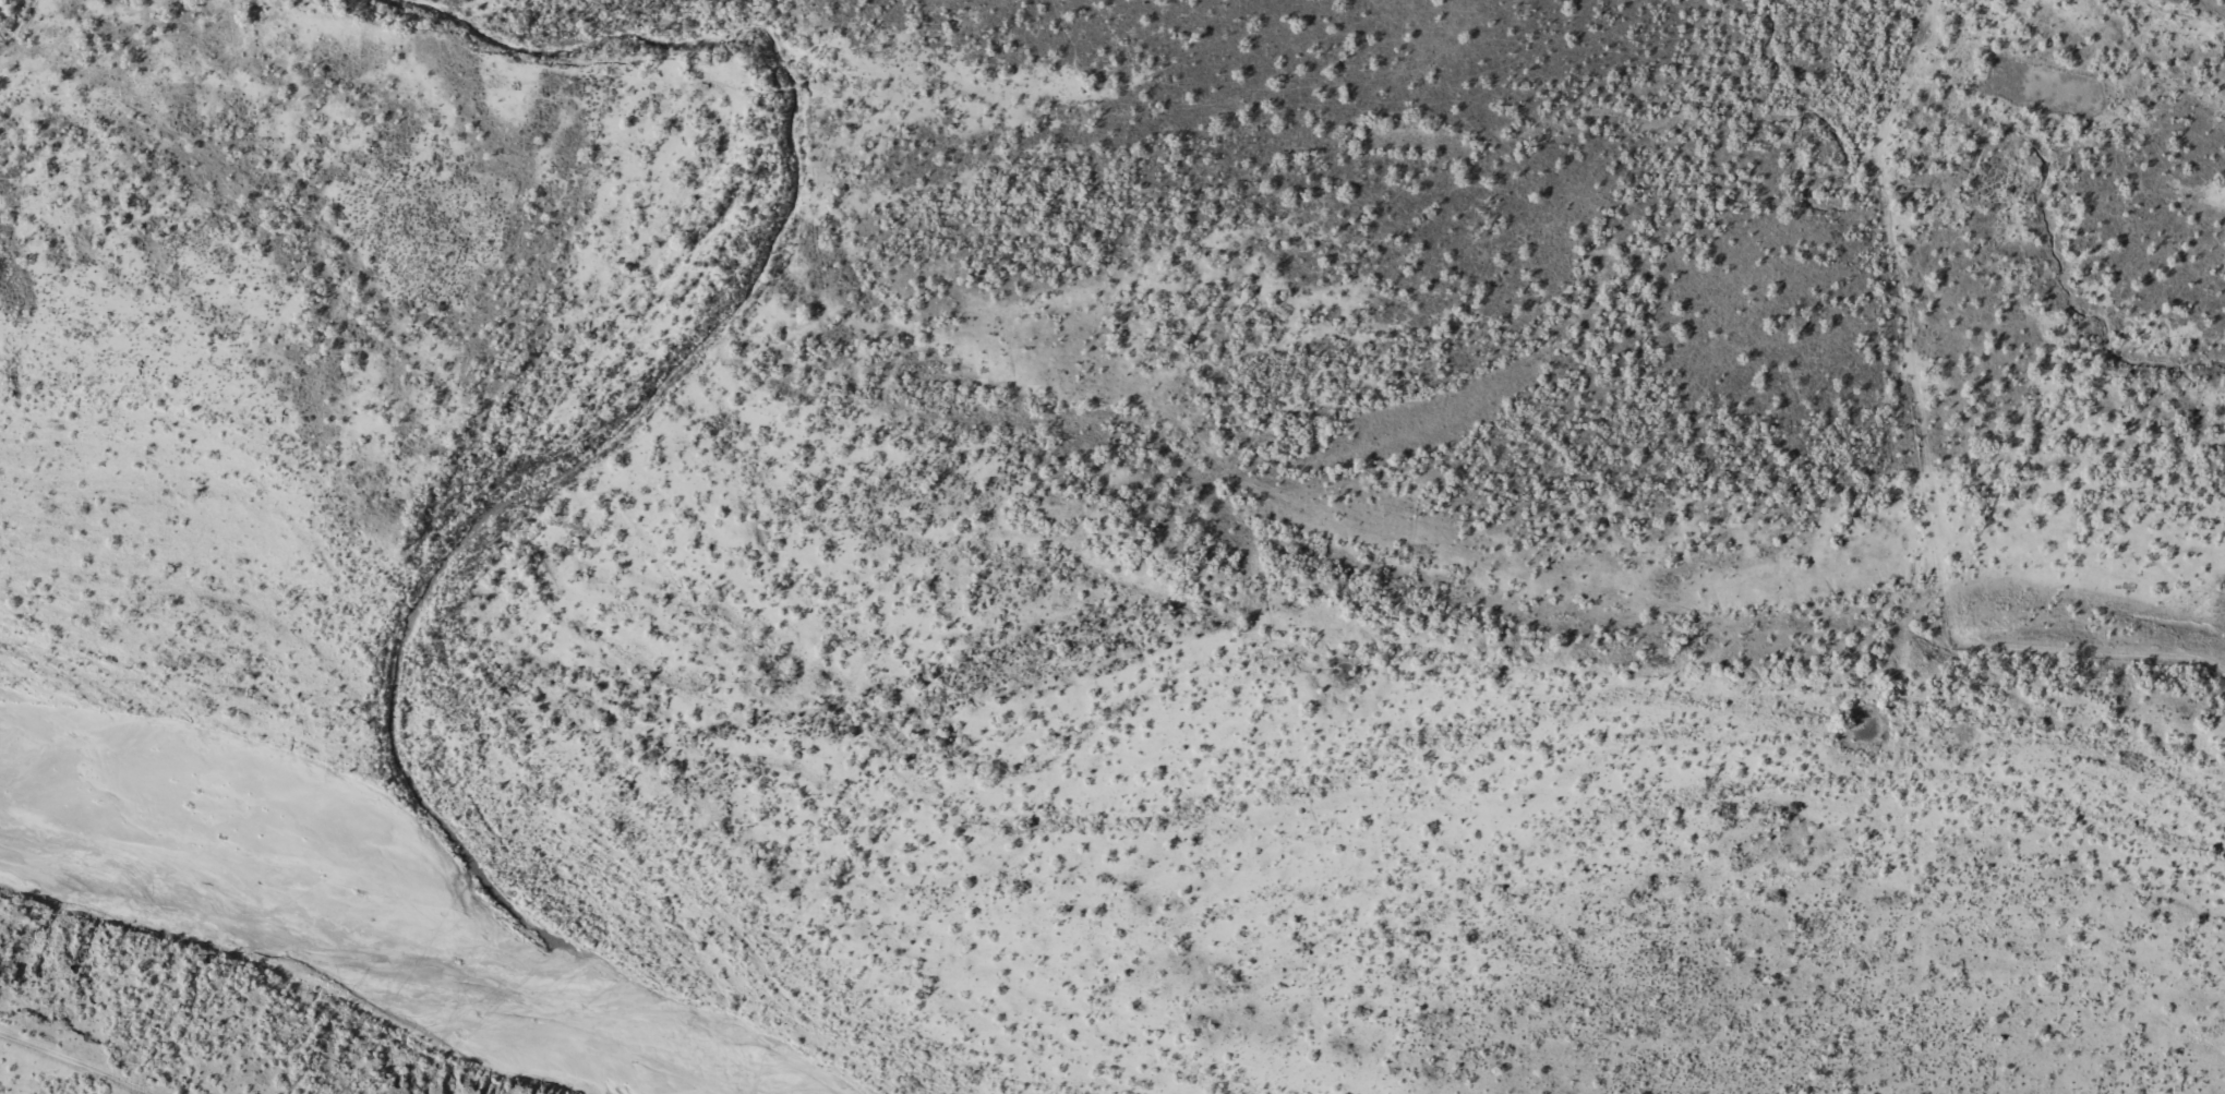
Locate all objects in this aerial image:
river: (357, 929)

